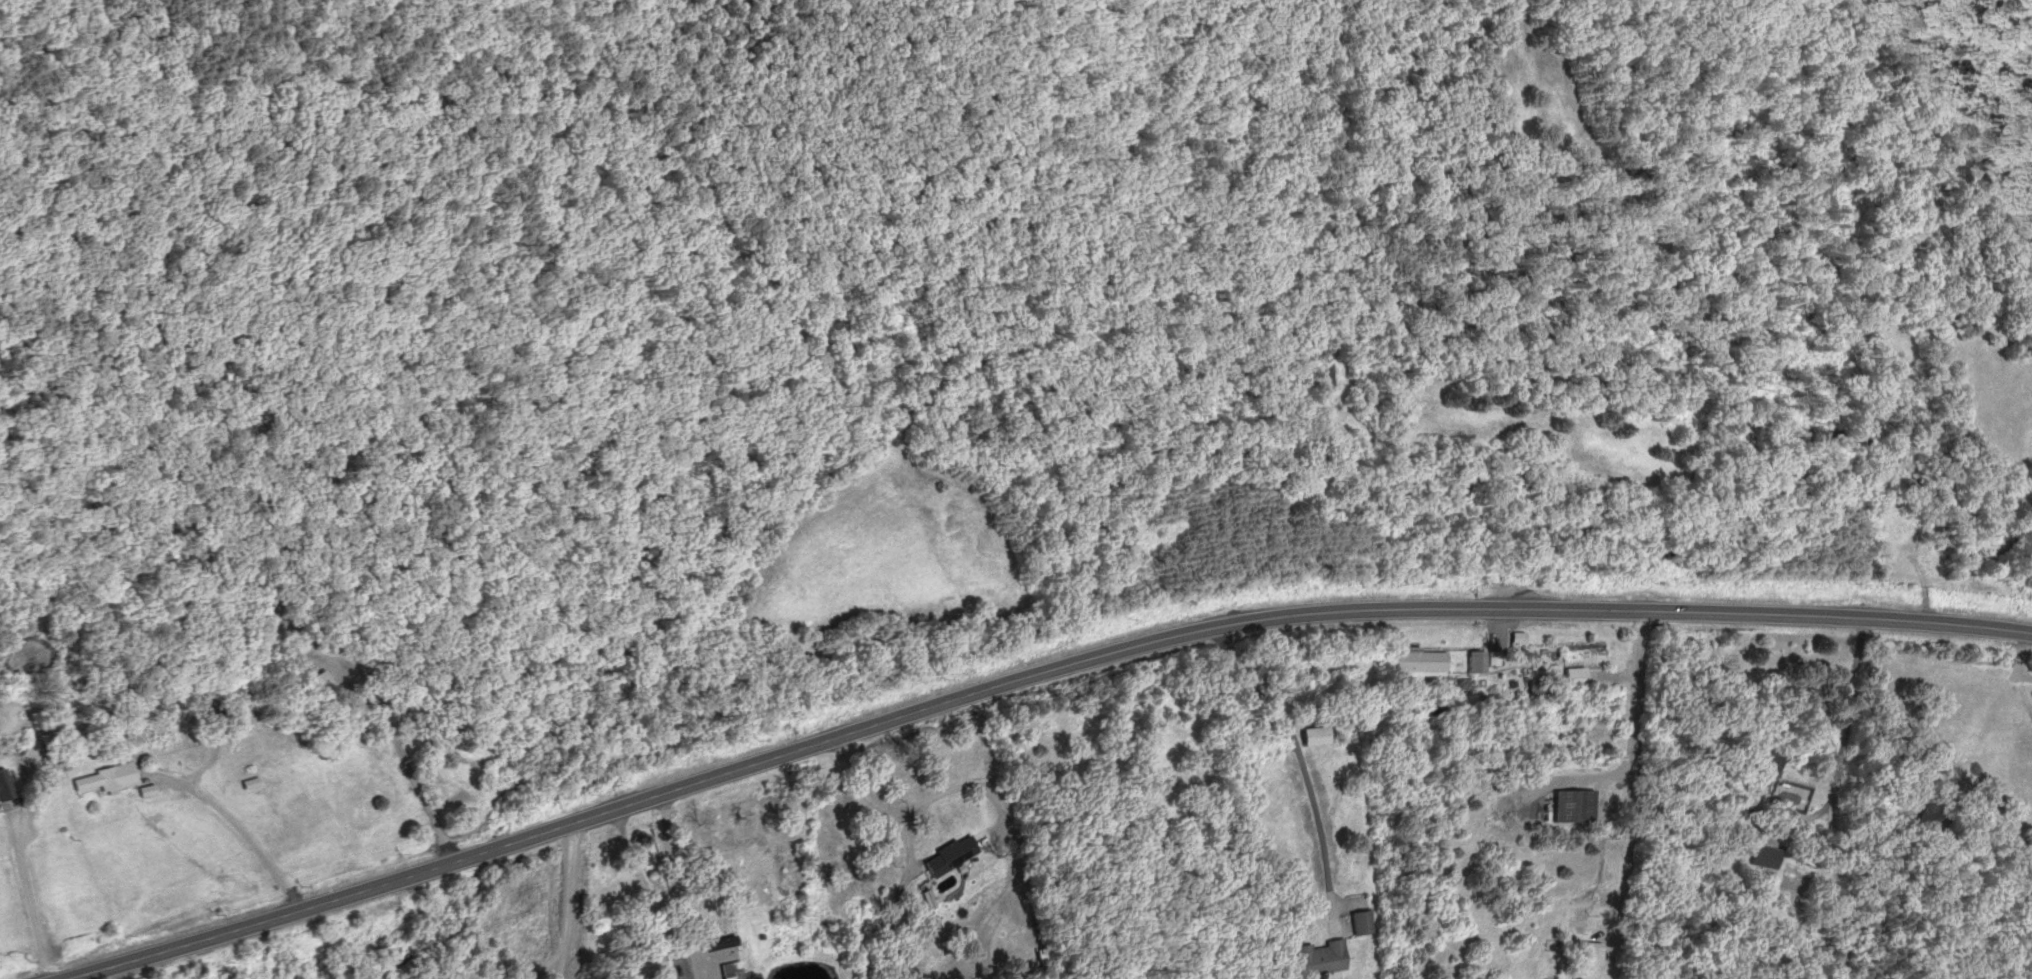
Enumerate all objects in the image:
building: (1423, 661)
building: (1477, 663)
road: (1035, 677)
building: (322, 684)
building: (1558, 684)
building: (1591, 726)
building: (1315, 736)
road: (1629, 775)
building: (1774, 776)
building: (107, 780)
road: (1572, 780)
building: (6, 789)
building: (1574, 806)
road: (243, 832)
building: (950, 856)
building: (1766, 857)
road: (675, 882)
road: (30, 896)
building: (1361, 924)
building: (715, 943)
building: (1321, 959)
building: (643, 964)
building: (732, 970)
building: (289, 976)

